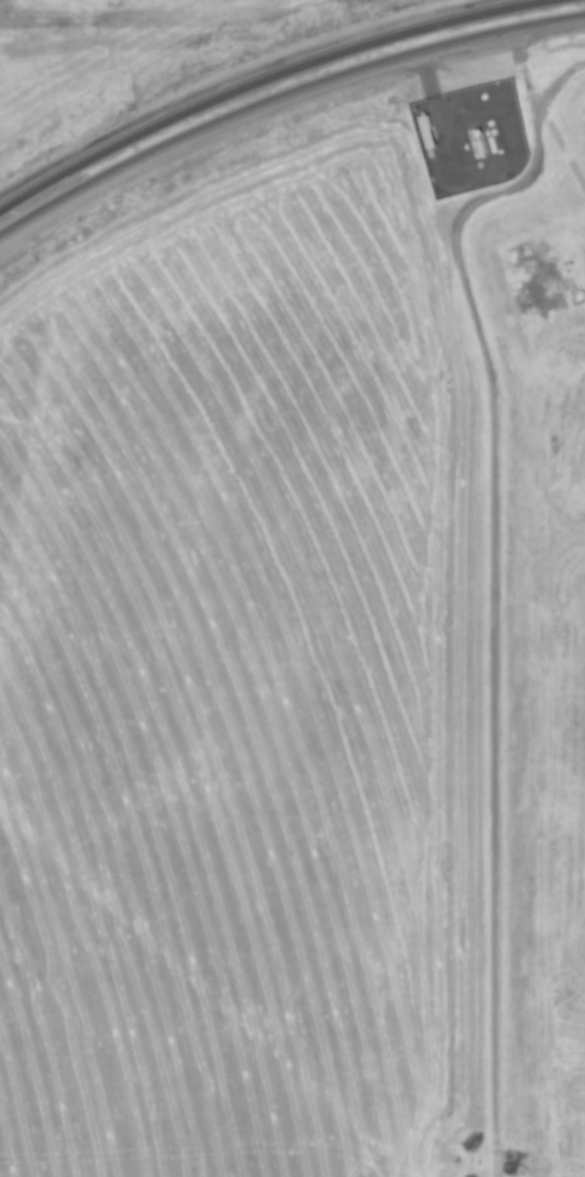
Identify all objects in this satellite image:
road: (226, 78)
road: (280, 88)
road: (465, 204)
road: (492, 687)

